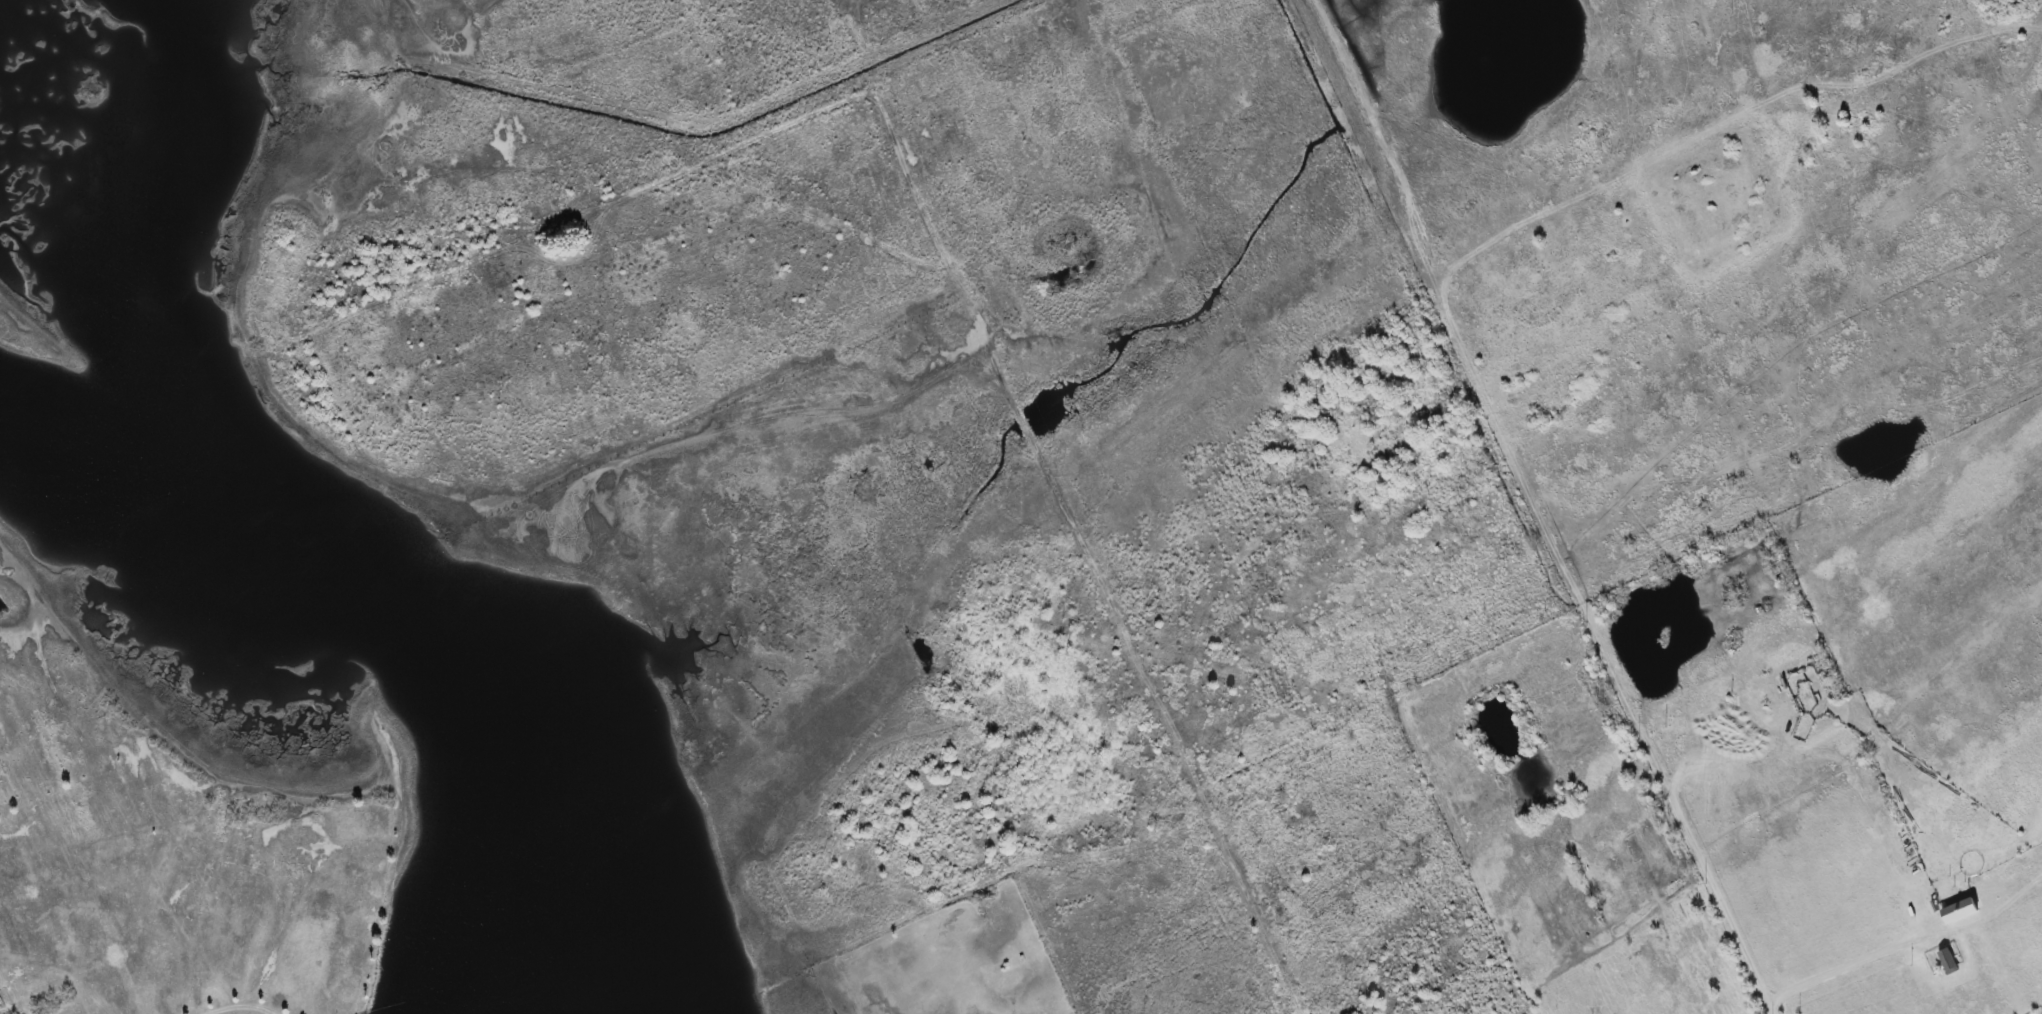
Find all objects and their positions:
building: (1960, 911)
building: (1949, 961)
road: (1855, 962)

